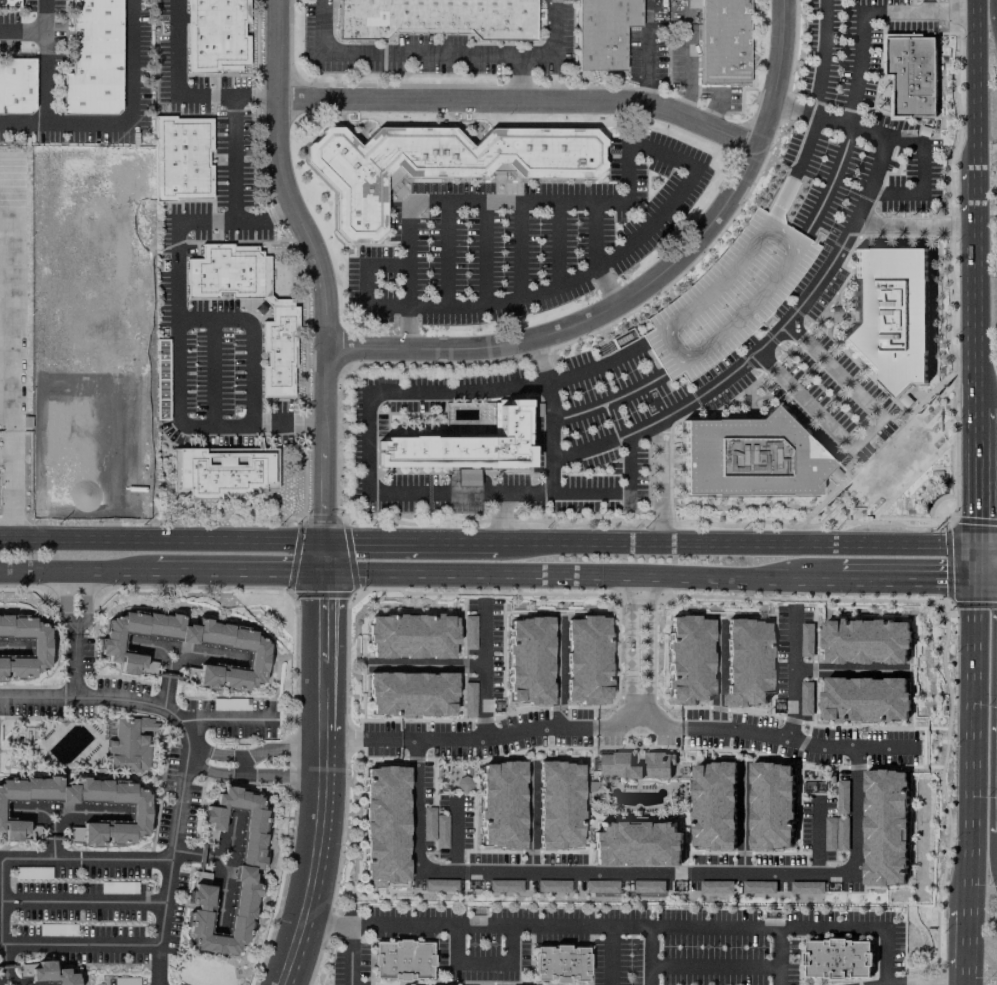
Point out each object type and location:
building: (9, 4)
road: (931, 6)
road: (931, 12)
building: (437, 17)
road: (38, 29)
building: (602, 32)
building: (216, 35)
building: (722, 41)
road: (554, 45)
road: (416, 54)
road: (686, 56)
road: (822, 56)
building: (94, 59)
building: (914, 76)
road: (45, 77)
road: (975, 84)
building: (16, 85)
road: (178, 96)
road: (521, 101)
road: (811, 112)
road: (128, 125)
road: (805, 145)
road: (666, 155)
building: (181, 157)
road: (233, 158)
building: (437, 162)
road: (920, 178)
road: (830, 180)
road: (973, 196)
road: (914, 226)
road: (848, 232)
road: (973, 233)
road: (595, 255)
road: (320, 280)
road: (646, 288)
building: (730, 291)
parking garage: (730, 291)
road: (974, 294)
road: (833, 295)
building: (282, 314)
road: (833, 314)
building: (892, 316)
road: (177, 336)
road: (251, 337)
road: (7, 355)
road: (539, 361)
road: (595, 367)
road: (212, 372)
road: (977, 377)
road: (77, 382)
road: (459, 391)
road: (746, 400)
road: (608, 401)
road: (725, 401)
road: (863, 429)
building: (68, 446)
building: (464, 446)
road: (876, 448)
building: (750, 456)
building: (222, 471)
road: (618, 490)
road: (979, 491)
road: (946, 516)
road: (499, 517)
road: (162, 540)
road: (462, 543)
traffic signals: (325, 544)
road: (367, 544)
road: (610, 545)
road: (772, 548)
road: (908, 549)
traffic signals: (977, 550)
road: (987, 550)
traffic signals: (324, 569)
road: (367, 569)
road: (462, 569)
road: (239, 571)
road: (609, 571)
road: (77, 573)
road: (772, 573)
road: (907, 574)
traffic signals: (976, 575)
road: (986, 575)
road: (80, 599)
road: (65, 600)
road: (73, 629)
building: (469, 631)
building: (409, 636)
building: (806, 640)
building: (863, 642)
road: (647, 643)
road: (628, 644)
building: (39, 645)
road: (11, 648)
building: (110, 650)
road: (207, 655)
road: (172, 656)
building: (689, 659)
building: (530, 660)
building: (585, 660)
building: (746, 661)
road: (427, 666)
road: (75, 667)
road: (847, 670)
road: (483, 673)
road: (558, 674)
road: (792, 674)
road: (718, 676)
road: (975, 682)
building: (410, 694)
building: (469, 698)
building: (806, 698)
building: (865, 698)
building: (228, 704)
road: (229, 721)
fountain: (637, 743)
building: (129, 744)
road: (212, 755)
road: (189, 759)
building: (634, 763)
road: (280, 765)
road: (326, 778)
building: (842, 796)
building: (501, 805)
building: (558, 805)
building: (713, 805)
building: (771, 806)
building: (138, 810)
road: (30, 812)
road: (64, 813)
road: (742, 819)
road: (853, 819)
building: (385, 824)
building: (434, 827)
building: (884, 827)
building: (835, 834)
road: (816, 838)
building: (635, 844)
road: (973, 849)
road: (222, 858)
building: (247, 870)
building: (31, 872)
building: (439, 885)
building: (503, 885)
building: (552, 886)
building: (600, 886)
building: (648, 886)
building: (716, 886)
building: (758, 887)
building: (806, 887)
road: (3, 894)
road: (221, 895)
road: (85, 901)
road: (622, 926)
road: (969, 946)
road: (348, 954)
road: (608, 955)
road: (650, 955)
building: (838, 959)
building: (402, 960)
building: (560, 964)
road: (4, 965)
building: (45, 972)
building: (126, 981)
road: (950, 983)

